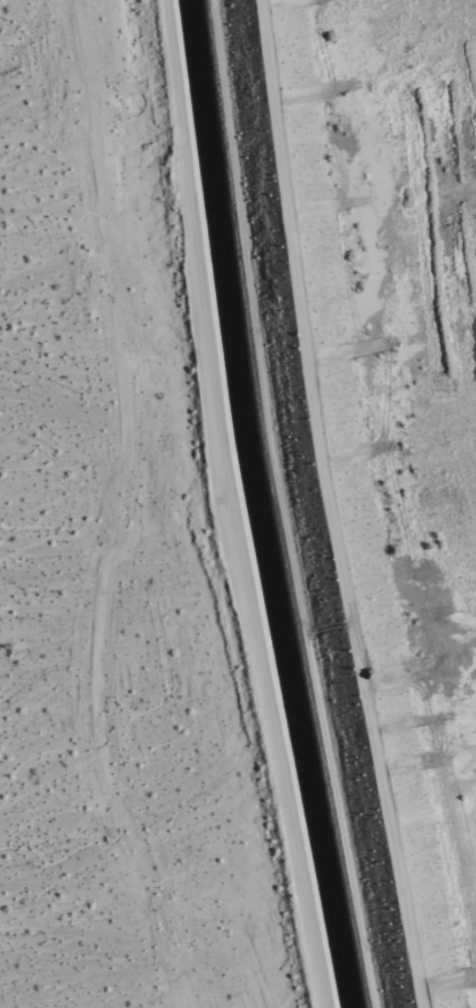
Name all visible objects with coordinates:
road: (233, 506)

